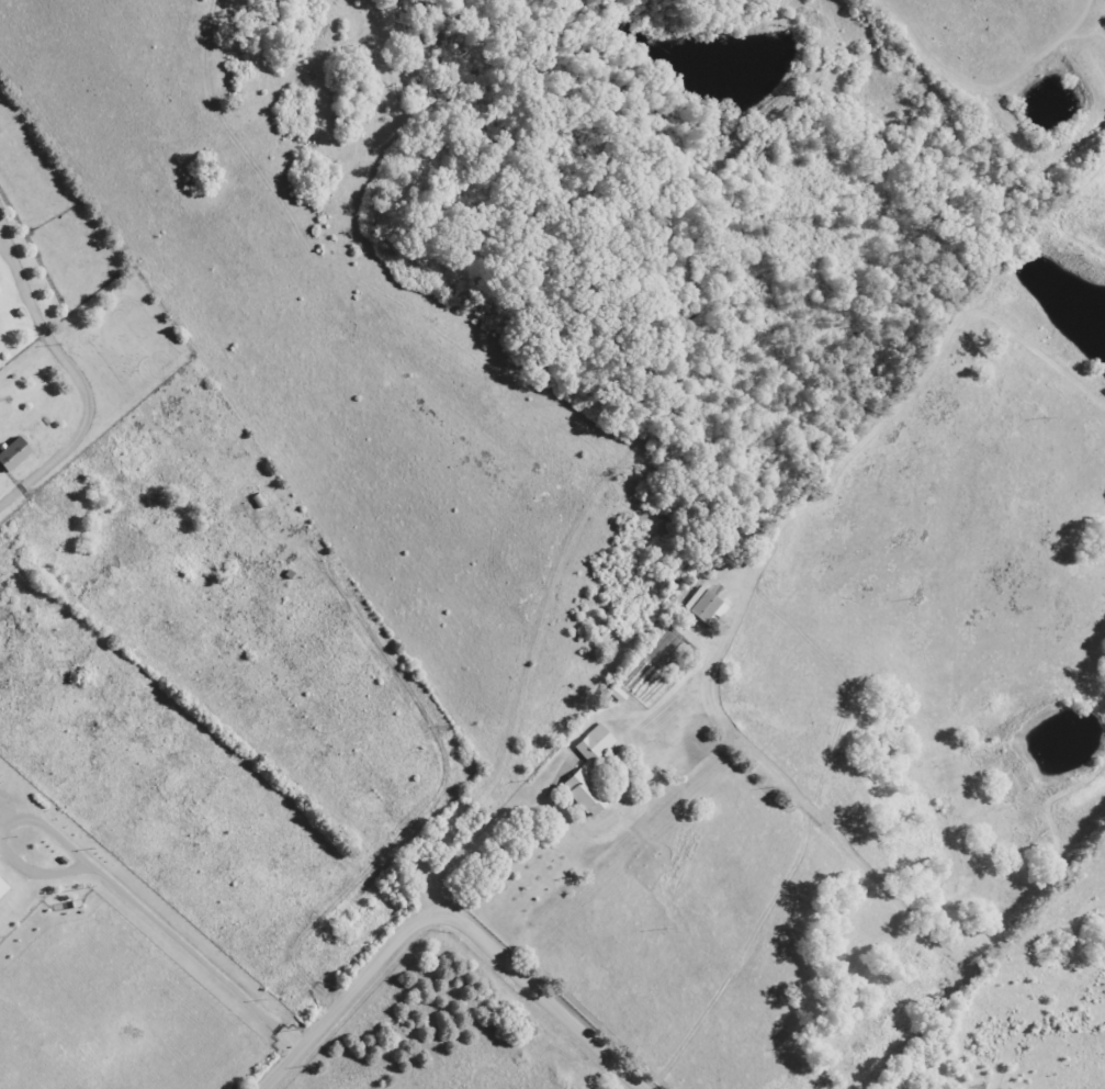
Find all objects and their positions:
building: (697, 608)
building: (571, 776)
road: (450, 914)

